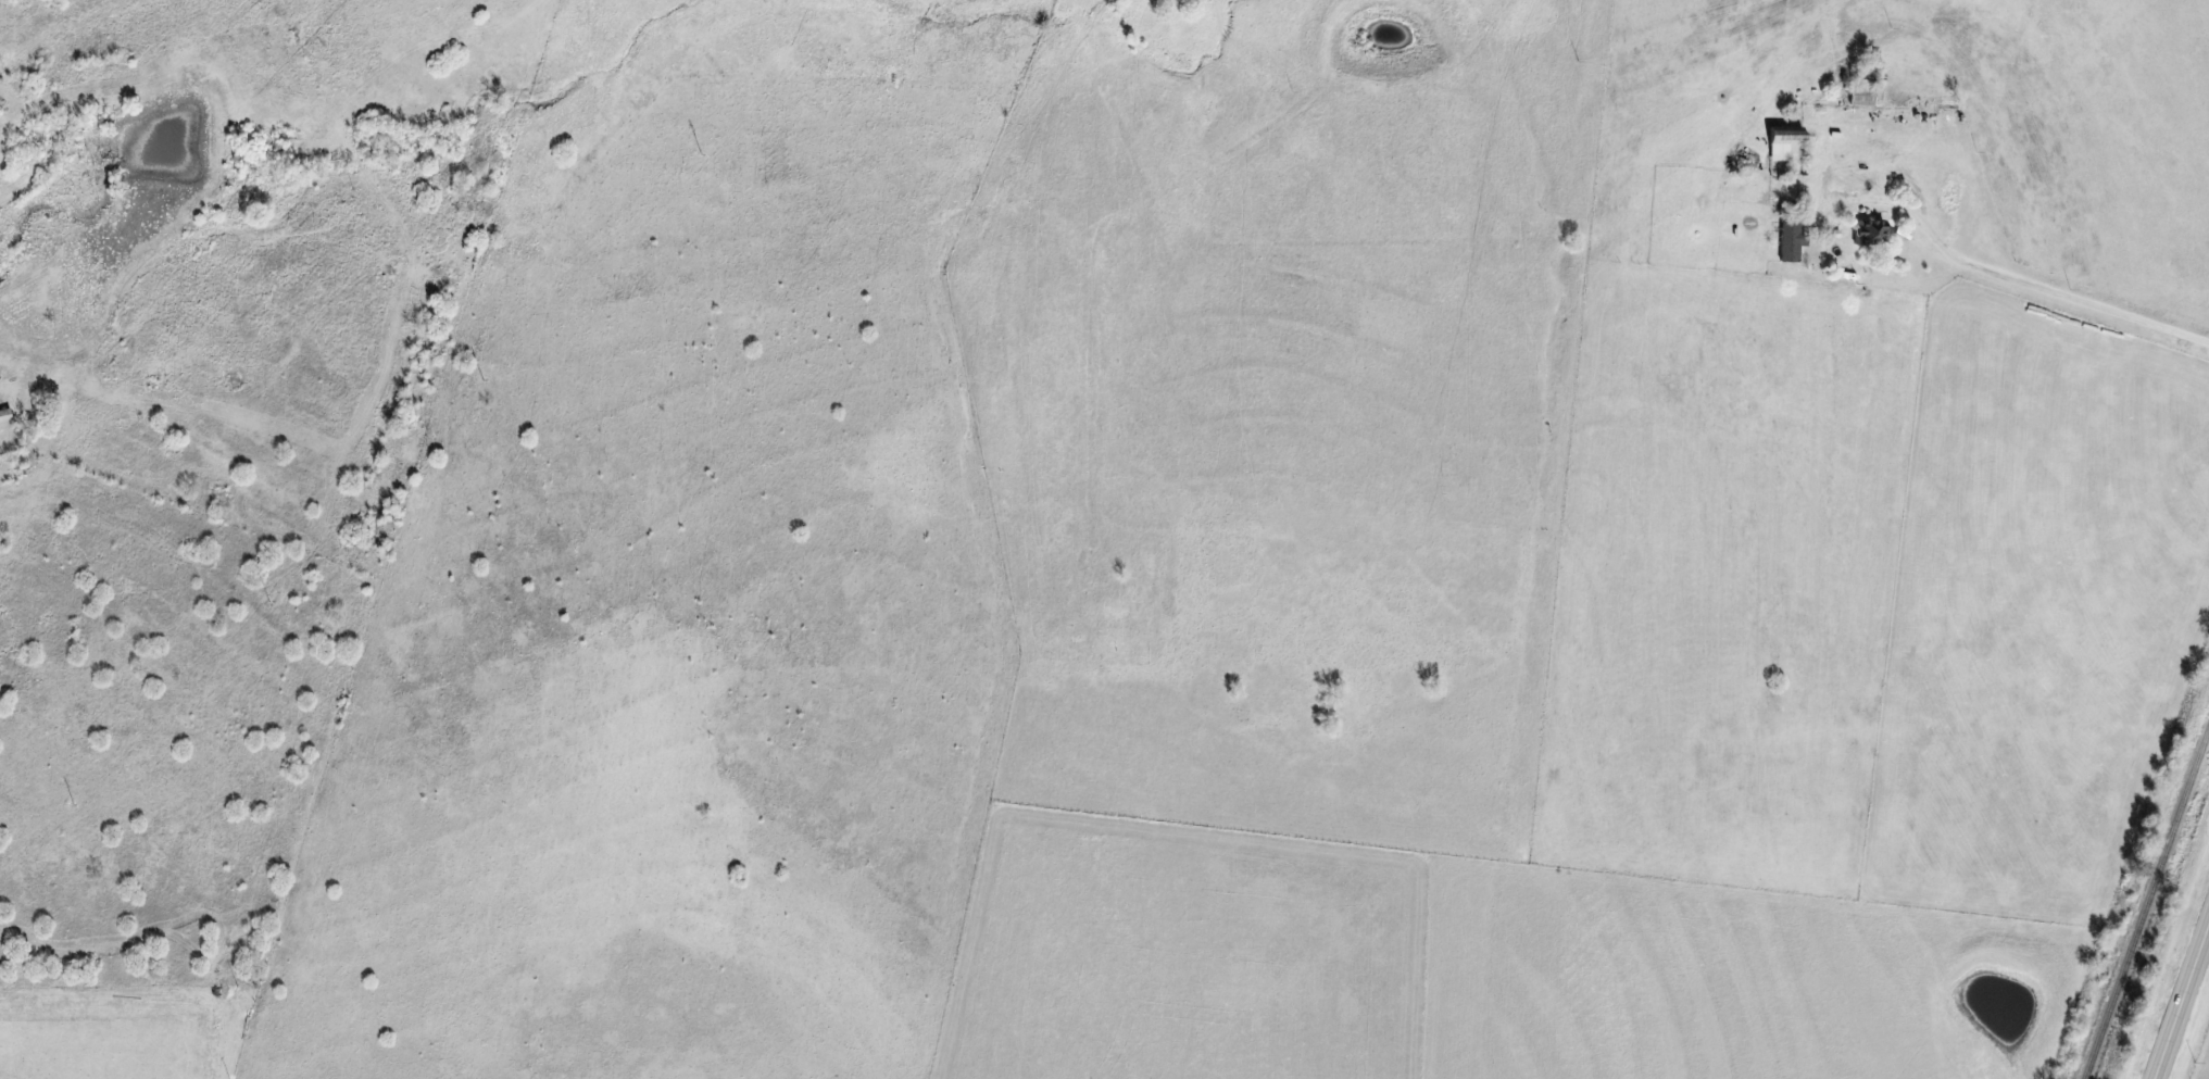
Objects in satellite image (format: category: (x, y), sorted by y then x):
road: (203, 38)
building: (1783, 148)
building: (1868, 231)
building: (1790, 240)
road: (2010, 272)
railway: (2147, 905)
road: (2185, 1012)

